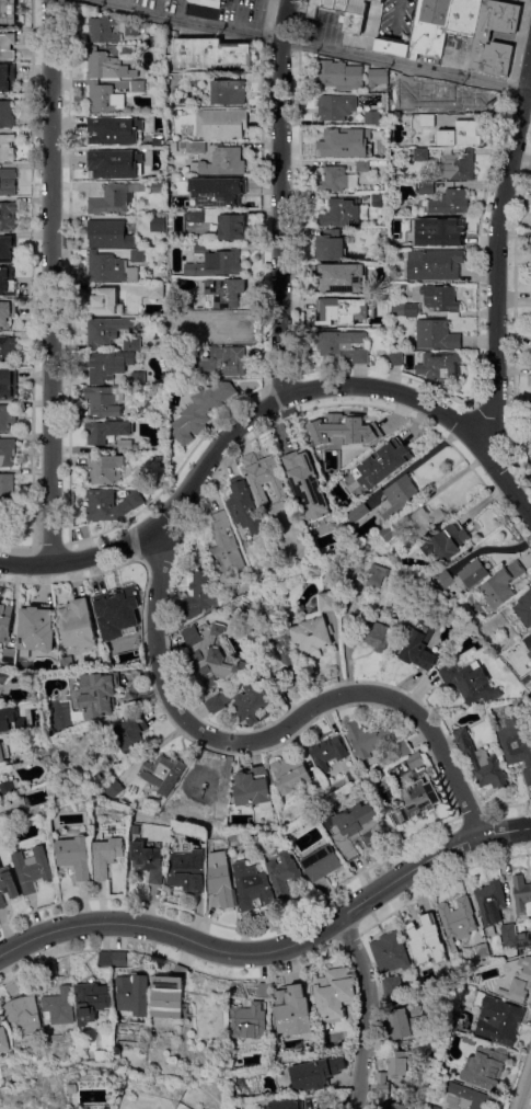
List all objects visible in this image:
building: (380, 0)
road: (529, 0)
building: (207, 2)
building: (326, 5)
building: (8, 12)
building: (356, 16)
building: (464, 18)
building: (132, 30)
building: (103, 31)
building: (422, 31)
building: (482, 41)
road: (301, 44)
building: (7, 46)
building: (127, 53)
building: (211, 55)
building: (106, 66)
building: (339, 76)
building: (7, 77)
building: (378, 78)
building: (197, 79)
building: (405, 82)
building: (138, 87)
building: (228, 92)
building: (449, 95)
building: (105, 99)
building: (336, 106)
building: (7, 115)
building: (373, 118)
building: (139, 119)
building: (427, 121)
building: (221, 124)
building: (462, 134)
building: (111, 135)
building: (332, 139)
building: (158, 141)
building: (184, 146)
building: (198, 147)
building: (8, 148)
building: (369, 153)
building: (422, 155)
building: (157, 158)
building: (222, 162)
building: (368, 164)
building: (460, 165)
building: (108, 168)
building: (334, 180)
building: (8, 182)
building: (206, 182)
building: (158, 187)
building: (426, 188)
building: (235, 195)
road: (280, 197)
building: (114, 198)
building: (379, 201)
building: (450, 203)
building: (342, 214)
building: (8, 216)
building: (196, 216)
building: (158, 224)
building: (232, 227)
building: (445, 232)
building: (111, 236)
building: (400, 242)
building: (331, 245)
building: (7, 251)
building: (383, 253)
building: (137, 256)
building: (216, 262)
building: (435, 265)
building: (109, 268)
building: (342, 277)
building: (8, 282)
road: (50, 282)
road: (498, 285)
building: (155, 291)
building: (224, 291)
building: (438, 299)
building: (104, 301)
building: (369, 302)
building: (383, 302)
building: (405, 310)
building: (335, 313)
building: (7, 315)
building: (230, 330)
building: (107, 331)
building: (436, 335)
building: (530, 341)
building: (131, 344)
building: (343, 347)
building: (7, 351)
building: (396, 358)
building: (223, 362)
building: (107, 365)
building: (440, 365)
building: (138, 378)
building: (8, 385)
building: (104, 401)
building: (200, 411)
building: (8, 418)
road: (236, 427)
building: (105, 431)
building: (347, 436)
building: (125, 446)
building: (7, 451)
building: (377, 467)
building: (105, 469)
building: (330, 473)
building: (264, 477)
building: (308, 485)
building: (7, 488)
building: (402, 498)
building: (111, 505)
building: (243, 506)
building: (3, 512)
building: (359, 513)
building: (429, 523)
building: (389, 534)
building: (448, 544)
building: (224, 550)
building: (475, 572)
building: (343, 573)
building: (355, 574)
building: (378, 574)
building: (503, 584)
building: (198, 595)
building: (404, 596)
building: (328, 602)
building: (524, 608)
building: (114, 613)
building: (5, 621)
building: (78, 625)
building: (37, 628)
building: (374, 630)
building: (312, 634)
building: (529, 641)
building: (422, 644)
building: (278, 653)
building: (211, 654)
building: (9, 655)
building: (125, 659)
building: (67, 662)
building: (112, 663)
building: (2, 677)
building: (527, 681)
building: (471, 682)
building: (97, 695)
building: (218, 702)
building: (249, 705)
building: (7, 719)
road: (278, 733)
building: (129, 736)
building: (367, 739)
building: (518, 743)
building: (403, 750)
building: (327, 752)
building: (1, 753)
building: (415, 761)
building: (483, 763)
building: (163, 773)
building: (291, 773)
building: (355, 776)
building: (201, 779)
building: (9, 787)
building: (114, 788)
building: (252, 788)
building: (322, 793)
building: (416, 801)
building: (222, 812)
building: (186, 814)
building: (11, 818)
building: (355, 830)
building: (74, 856)
building: (107, 857)
building: (148, 861)
building: (322, 862)
building: (33, 868)
building: (187, 871)
building: (285, 874)
building: (221, 879)
building: (8, 884)
building: (252, 887)
building: (522, 895)
building: (490, 901)
building: (458, 922)
building: (508, 935)
building: (424, 939)
building: (522, 939)
building: (482, 950)
road: (275, 953)
building: (105, 959)
building: (119, 959)
building: (392, 962)
building: (181, 971)
building: (47, 972)
building: (475, 977)
building: (520, 979)
building: (448, 986)
building: (12, 988)
building: (264, 990)
building: (335, 993)
building: (134, 995)
building: (166, 996)
building: (478, 996)
building: (92, 1002)
building: (59, 1007)
building: (293, 1011)
road: (374, 1011)
building: (24, 1014)
building: (249, 1022)
building: (404, 1024)
building: (499, 1026)
building: (3, 1040)
building: (469, 1040)
building: (485, 1066)
building: (393, 1068)
building: (316, 1073)
road: (526, 1094)
building: (469, 1096)
building: (286, 1105)
building: (383, 1105)
building: (434, 1107)

